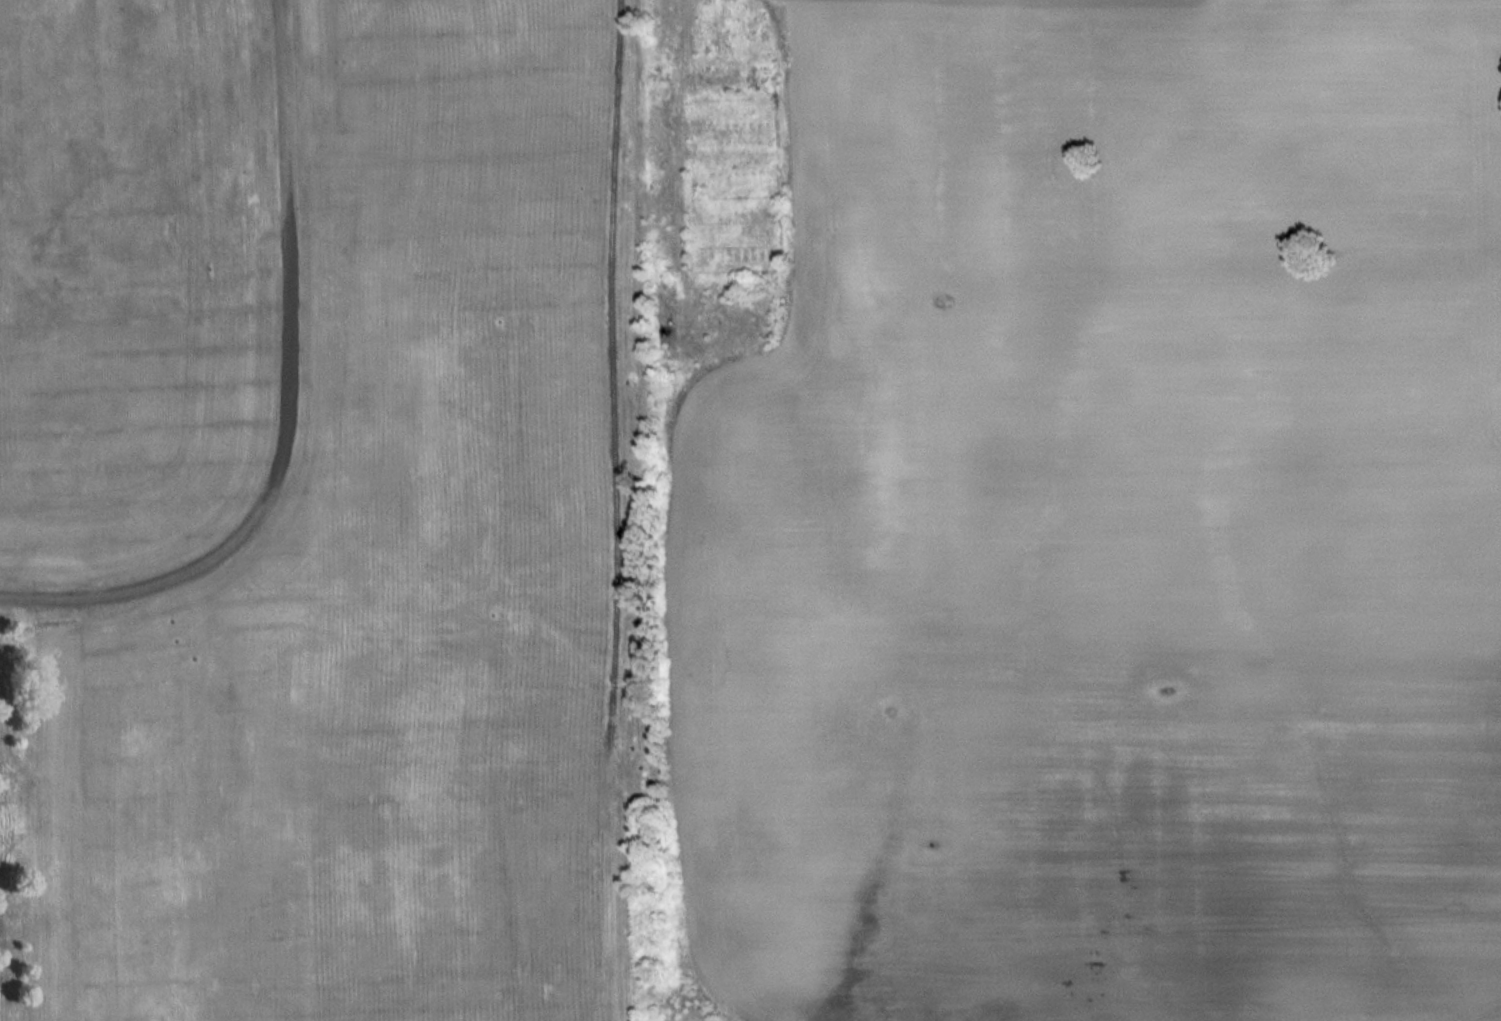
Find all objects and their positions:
building: (718, 32)
building: (732, 179)
road: (282, 399)
crop: (1104, 527)

